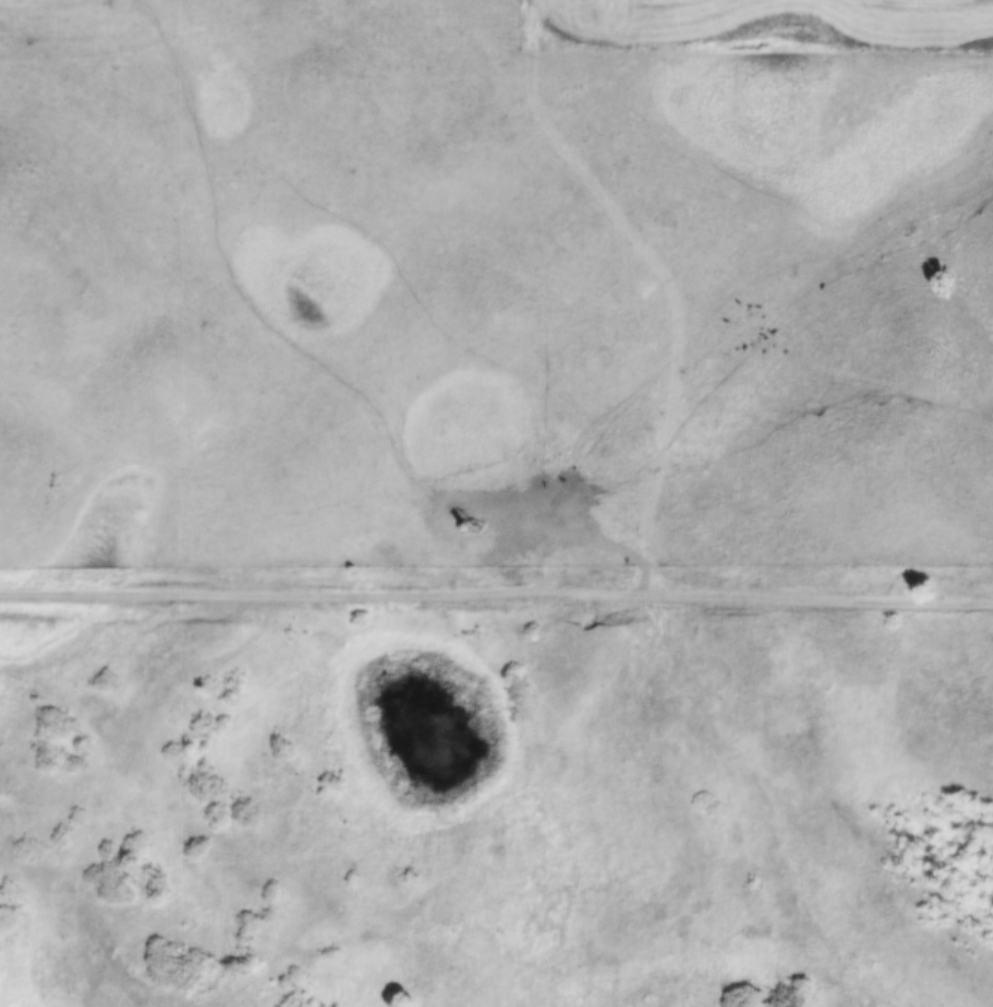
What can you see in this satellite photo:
storage tank: (472, 534)
storage tank: (498, 540)
road: (496, 592)

